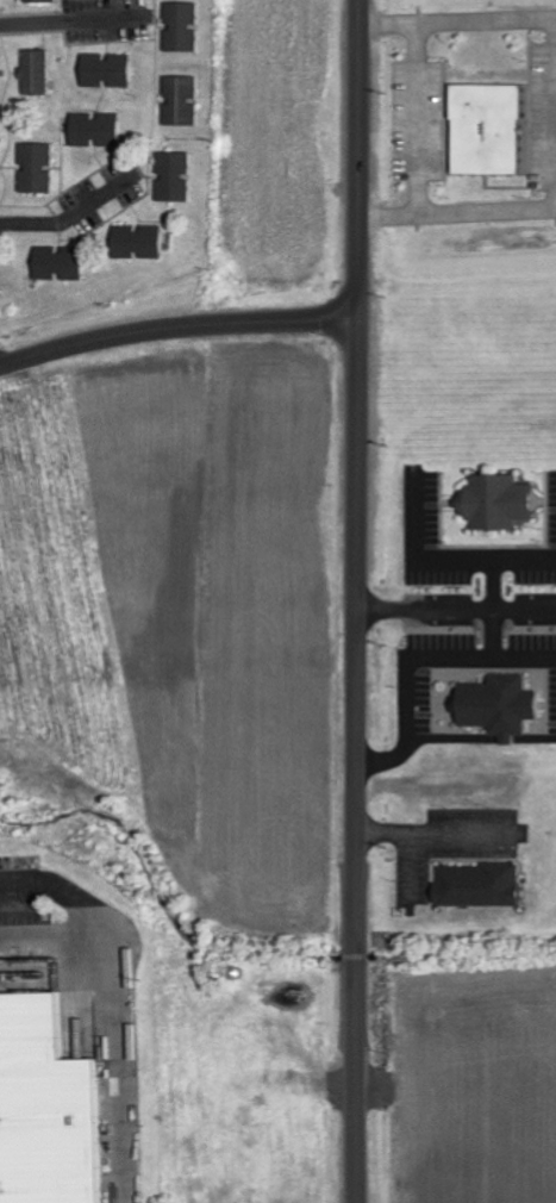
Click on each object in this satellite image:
building: (40, 1)
road: (73, 19)
building: (180, 27)
building: (106, 70)
building: (36, 73)
building: (179, 101)
building: (485, 129)
building: (94, 130)
building: (36, 168)
building: (173, 177)
road: (70, 217)
building: (137, 243)
building: (58, 264)
road: (176, 325)
building: (496, 503)
road: (358, 600)
building: (498, 706)
building: (477, 885)
road: (121, 1001)
building: (49, 1105)

